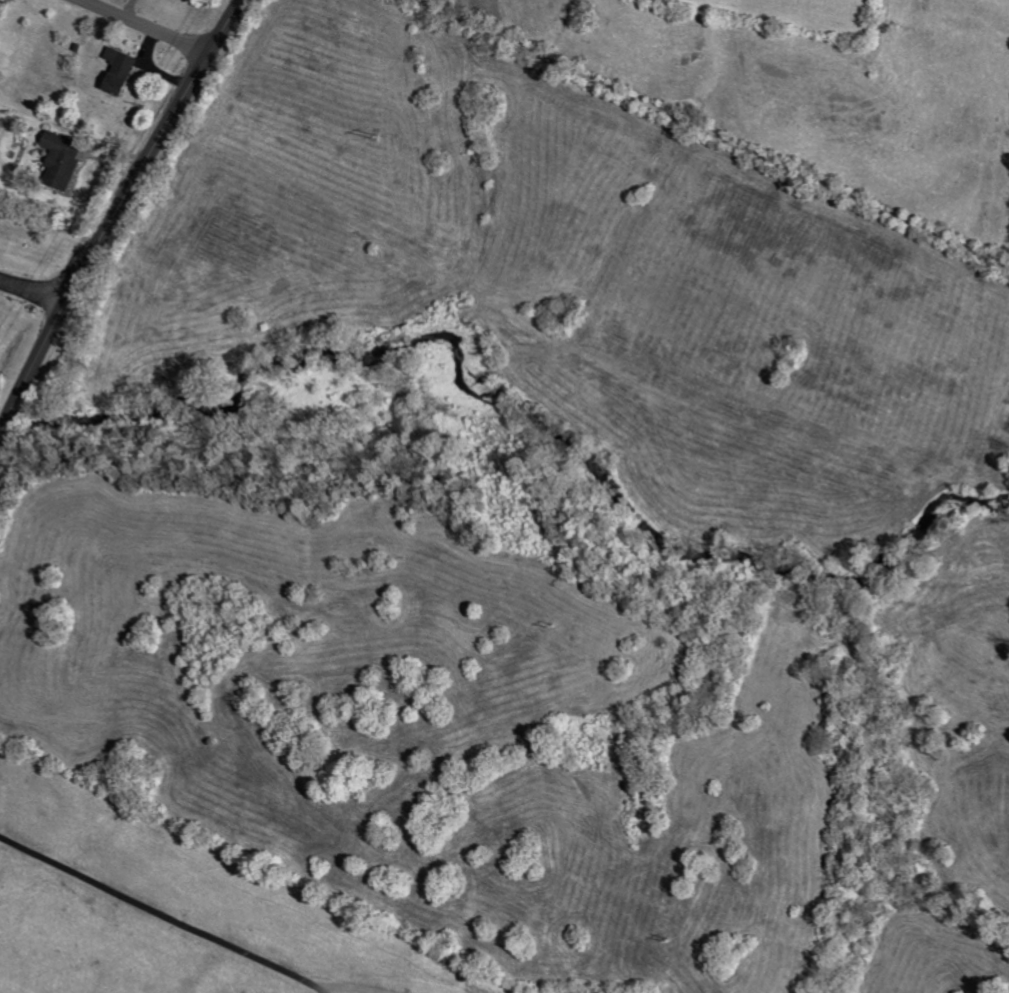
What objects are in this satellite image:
road: (148, 26)
building: (124, 70)
power tower: (373, 131)
road: (712, 134)
building: (66, 159)
road: (114, 218)
road: (34, 290)
power tower: (552, 622)
power tower: (665, 938)

